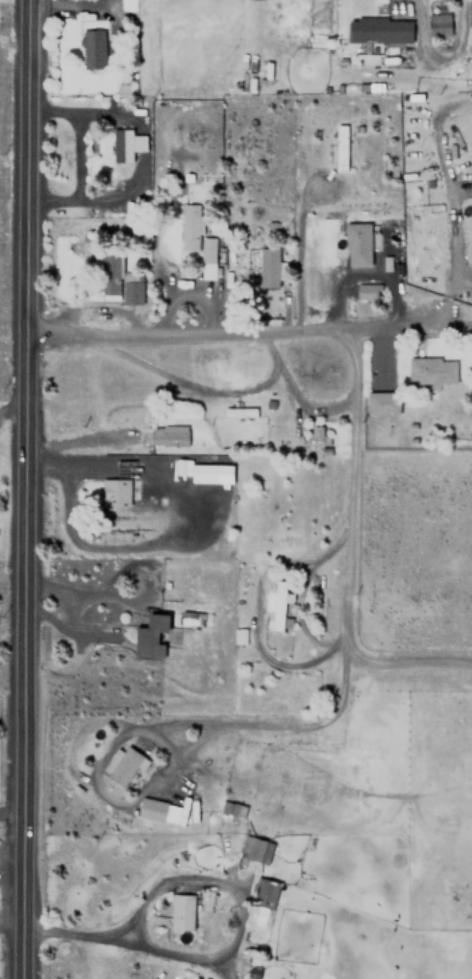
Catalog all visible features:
building: (441, 25)
building: (379, 29)
building: (92, 48)
building: (126, 87)
building: (125, 144)
building: (344, 148)
building: (196, 239)
building: (361, 244)
building: (268, 267)
building: (364, 275)
building: (118, 281)
road: (248, 333)
building: (432, 371)
building: (382, 403)
building: (239, 413)
building: (412, 431)
building: (169, 435)
building: (316, 436)
building: (213, 474)
road: (350, 483)
building: (117, 486)
road: (24, 489)
building: (279, 605)
building: (150, 635)
road: (404, 661)
road: (246, 725)
building: (123, 763)
building: (232, 808)
building: (161, 811)
building: (254, 849)
building: (263, 893)
building: (182, 912)

